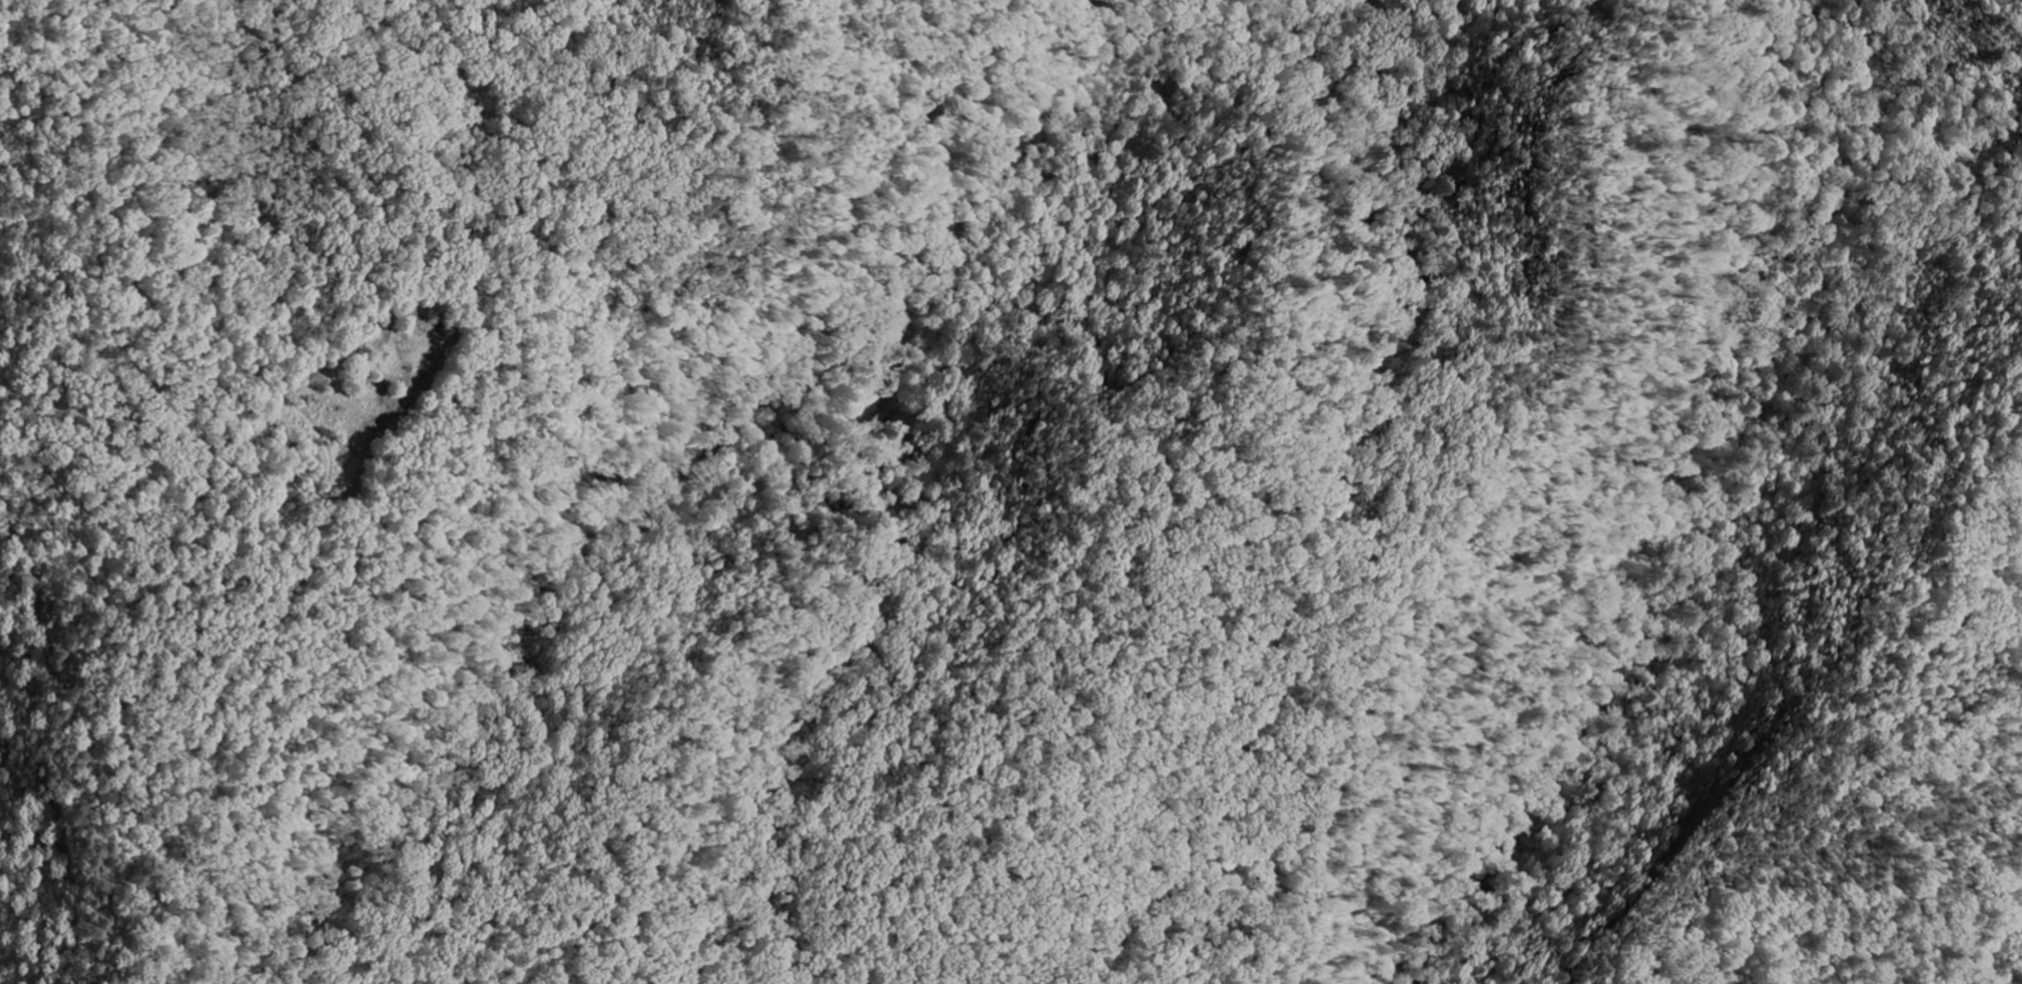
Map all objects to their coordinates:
road: (326, 456)
road: (1834, 713)

